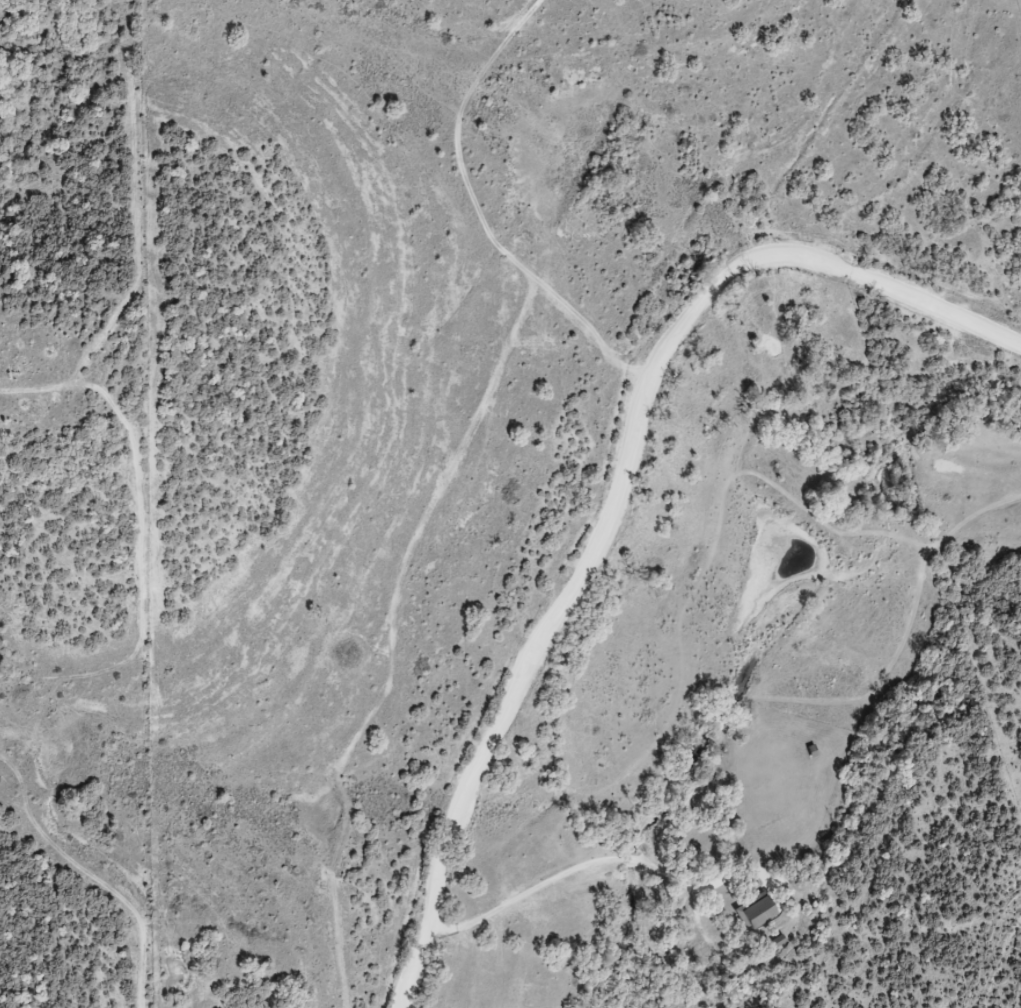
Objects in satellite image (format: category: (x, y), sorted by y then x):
road: (742, 109)
road: (865, 274)
road: (555, 618)
road: (505, 902)
building: (760, 913)

